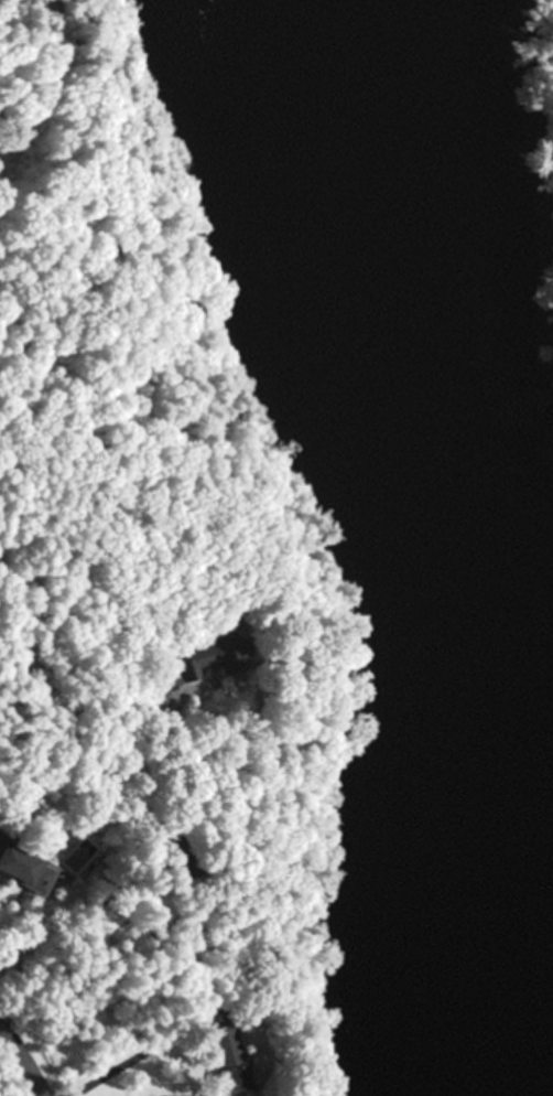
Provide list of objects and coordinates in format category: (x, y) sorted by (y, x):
river: (421, 517)
building: (206, 656)
building: (162, 679)
building: (20, 869)
building: (223, 1060)
road: (24, 1061)

